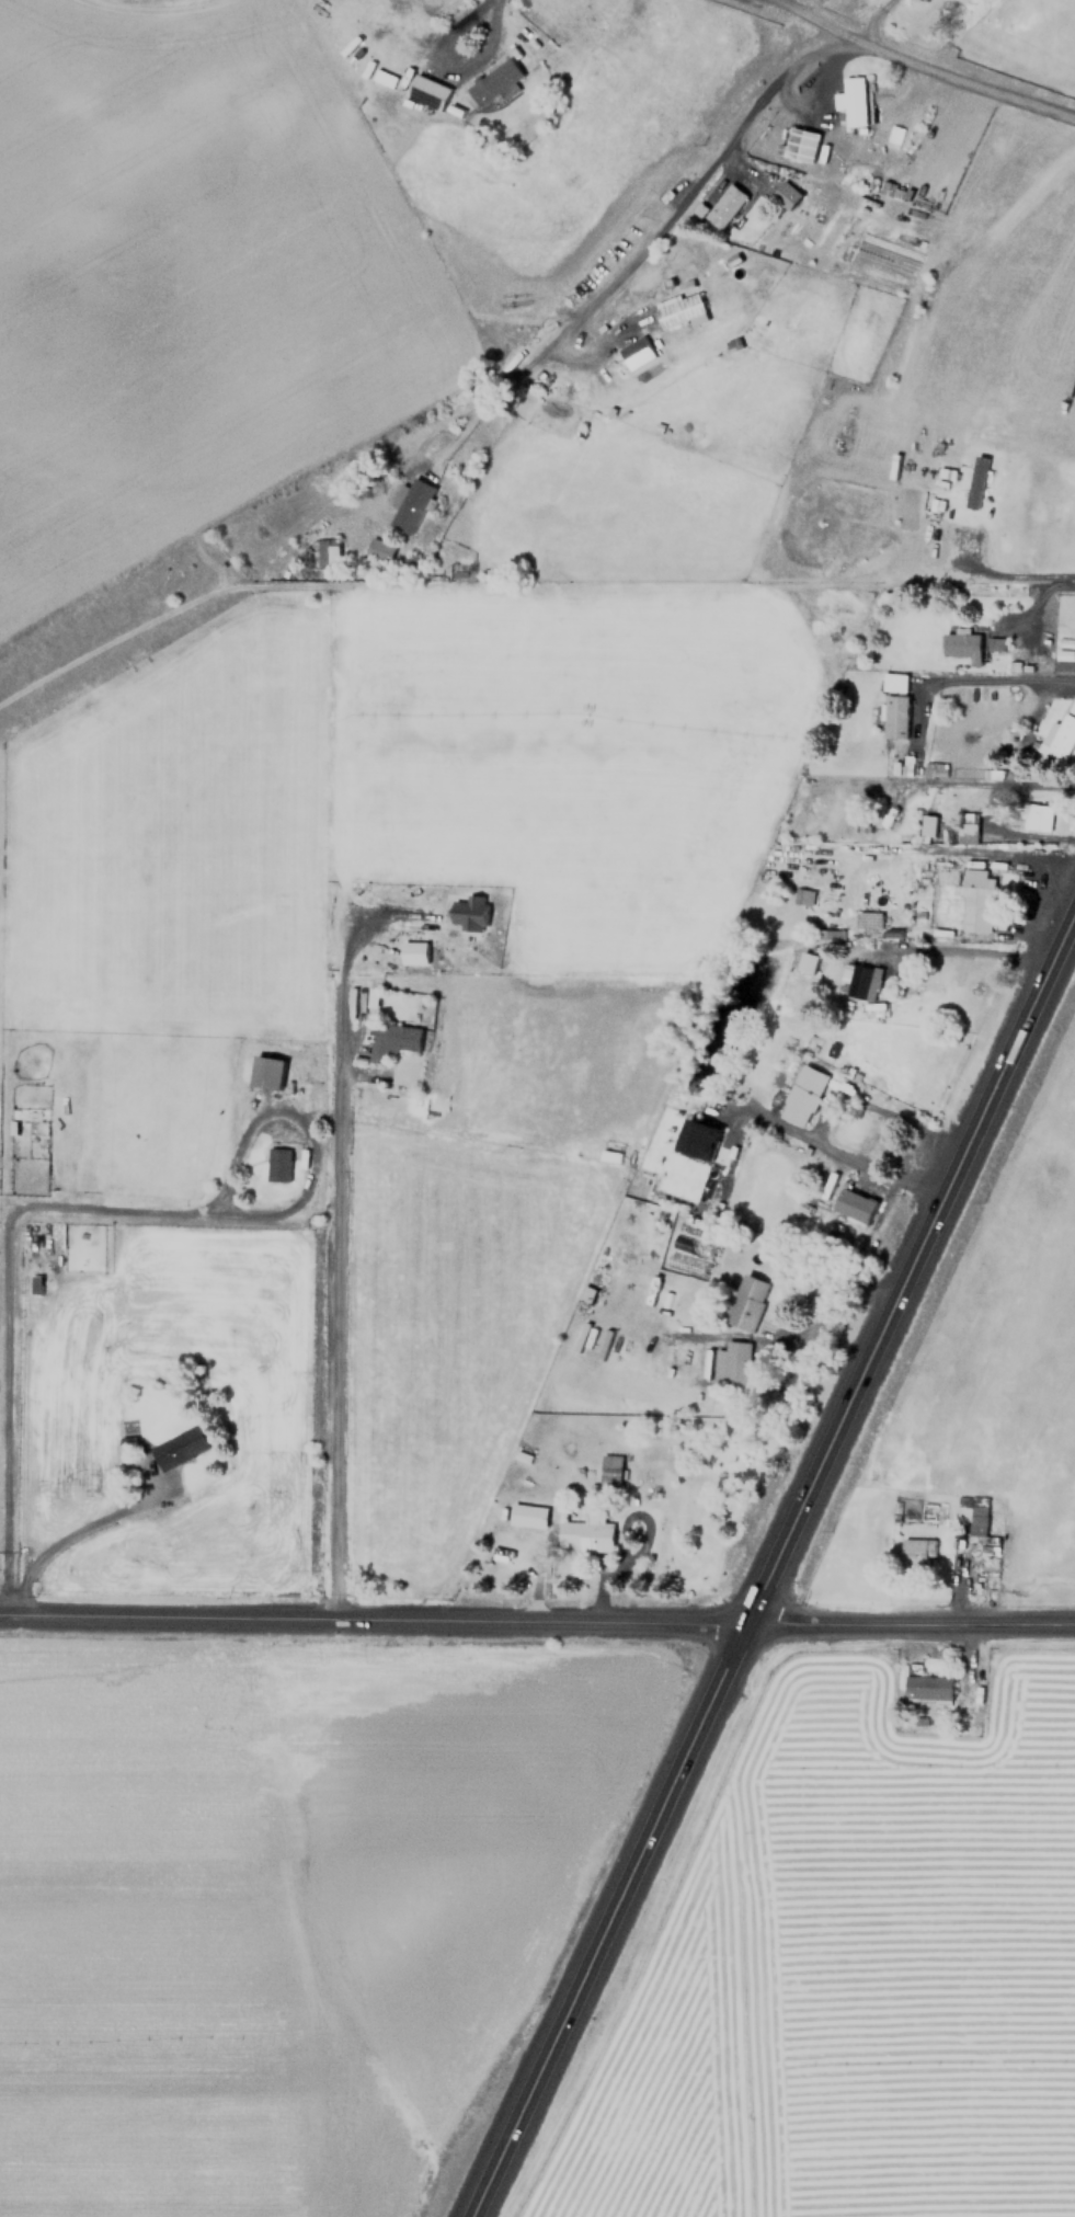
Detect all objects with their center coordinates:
road: (919, 61)
road: (448, 64)
building: (494, 82)
building: (426, 91)
building: (853, 101)
building: (801, 144)
road: (695, 191)
building: (787, 195)
building: (725, 206)
building: (677, 307)
building: (637, 352)
building: (975, 482)
building: (411, 505)
building: (379, 550)
building: (328, 553)
building: (408, 567)
road: (1010, 574)
road: (1040, 599)
building: (995, 643)
building: (961, 645)
building: (1064, 660)
road: (1000, 679)
building: (894, 682)
building: (894, 716)
building: (1062, 732)
road: (974, 784)
building: (1036, 816)
building: (926, 825)
building: (964, 832)
building: (800, 895)
building: (975, 900)
building: (469, 912)
building: (868, 919)
building: (831, 934)
building: (412, 950)
building: (807, 962)
building: (859, 981)
building: (391, 1040)
building: (266, 1072)
building: (803, 1095)
building: (698, 1140)
building: (277, 1165)
building: (855, 1205)
road: (71, 1208)
building: (587, 1294)
building: (747, 1302)
road: (343, 1304)
building: (731, 1365)
building: (176, 1448)
building: (610, 1473)
building: (528, 1516)
building: (976, 1524)
building: (587, 1532)
road: (62, 1542)
building: (916, 1551)
road: (775, 1564)
road: (537, 1622)
building: (927, 1689)
crop: (283, 1910)
crop: (850, 1964)

